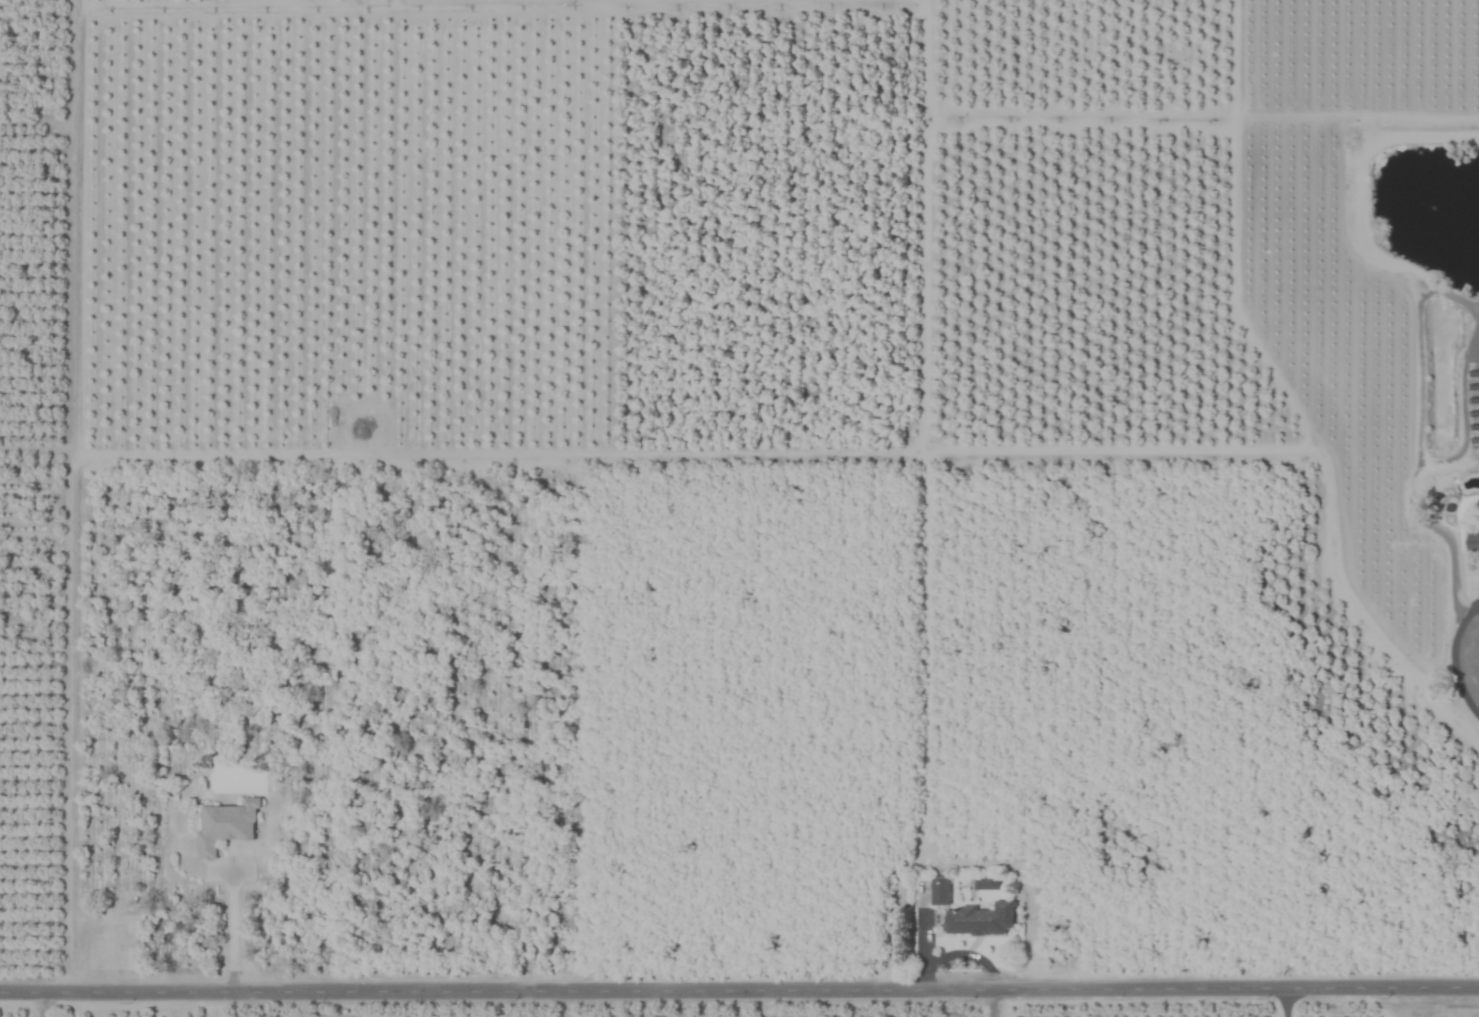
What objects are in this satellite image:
road: (74, 499)
building: (1476, 542)
road: (1454, 652)
building: (225, 826)
building: (986, 883)
building: (938, 890)
building: (980, 919)
road: (232, 928)
road: (739, 994)
road: (1282, 1004)
road: (42, 1007)

